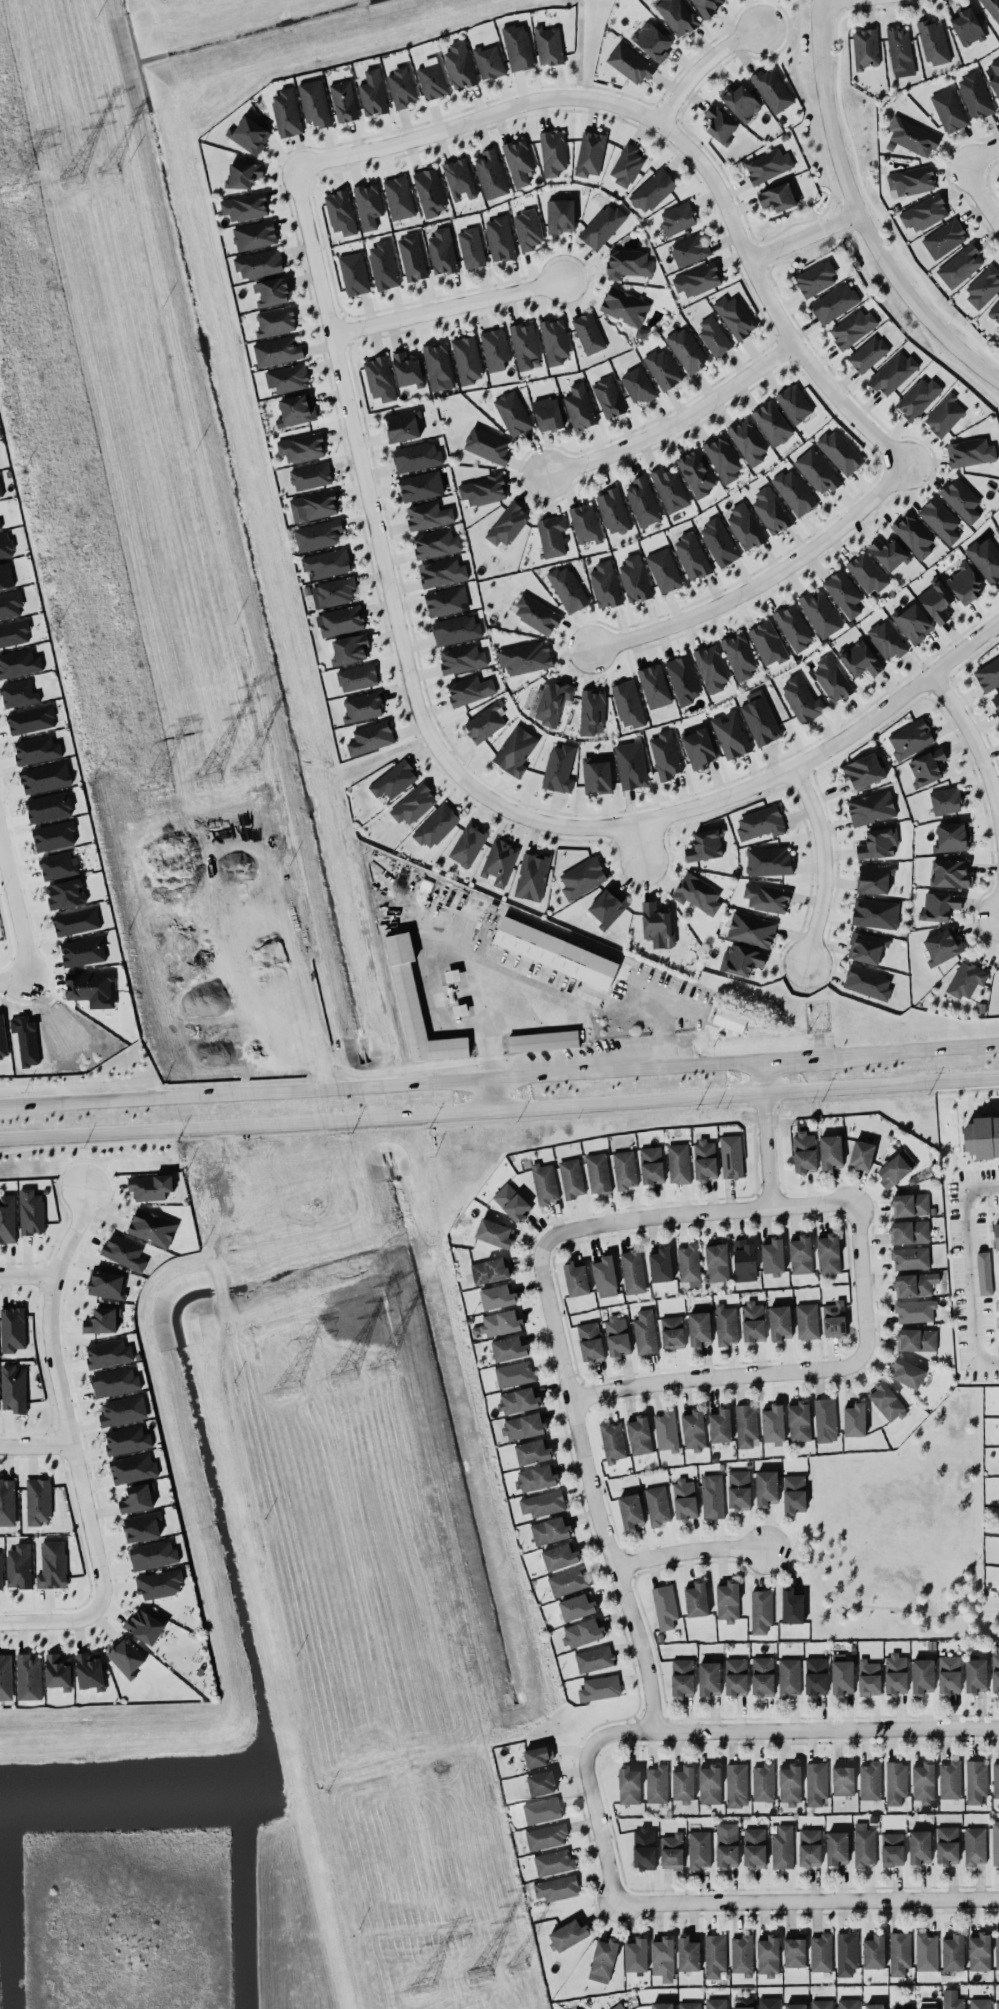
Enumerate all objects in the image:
building: (707, 7)
building: (992, 8)
building: (676, 16)
building: (967, 26)
building: (652, 41)
building: (933, 42)
building: (548, 45)
building: (517, 47)
building: (865, 48)
building: (900, 51)
building: (488, 62)
building: (630, 63)
building: (459, 65)
road: (703, 67)
building: (993, 75)
building: (431, 79)
building: (401, 87)
building: (772, 89)
building: (373, 92)
building: (975, 94)
building: (343, 100)
building: (741, 102)
building: (314, 103)
building: (948, 109)
building: (286, 112)
building: (719, 124)
building: (249, 134)
building: (912, 136)
road: (680, 139)
building: (552, 153)
building: (590, 153)
road: (983, 153)
building: (518, 161)
building: (626, 164)
building: (768, 165)
power tower: (101, 174)
building: (243, 174)
building: (490, 174)
building: (459, 179)
building: (911, 180)
power tower: (65, 184)
building: (652, 190)
building: (429, 191)
road: (980, 191)
power tower: (7, 196)
building: (398, 197)
building: (778, 197)
building: (368, 205)
building: (245, 206)
building: (340, 212)
building: (924, 212)
road: (861, 213)
building: (560, 215)
building: (677, 218)
building: (602, 225)
building: (527, 229)
building: (254, 234)
road: (805, 236)
building: (499, 238)
building: (944, 238)
building: (471, 247)
building: (689, 249)
building: (442, 251)
building: (412, 257)
building: (259, 263)
building: (628, 263)
building: (383, 265)
building: (960, 265)
building: (354, 273)
building: (815, 278)
building: (697, 279)
building: (983, 286)
building: (271, 291)
building: (834, 302)
road: (450, 305)
building: (624, 306)
building: (994, 311)
building: (734, 316)
building: (275, 321)
building: (852, 327)
building: (588, 333)
building: (714, 336)
building: (554, 341)
building: (524, 344)
building: (494, 348)
building: (686, 349)
building: (277, 350)
building: (868, 353)
building: (467, 359)
building: (438, 366)
building: (663, 368)
building: (407, 369)
building: (893, 373)
building: (287, 377)
building: (379, 378)
building: (637, 384)
building: (608, 396)
building: (917, 397)
building: (794, 403)
building: (579, 406)
building: (296, 410)
building: (512, 413)
building: (547, 413)
building: (944, 415)
road: (676, 420)
building: (772, 423)
building: (402, 425)
building: (747, 441)
building: (487, 445)
building: (301, 447)
building: (840, 452)
building: (969, 452)
building: (416, 456)
building: (722, 458)
building: (816, 471)
building: (696, 473)
building: (311, 476)
building: (421, 485)
building: (482, 489)
building: (669, 489)
building: (1, 491)
building: (794, 491)
building: (961, 499)
building: (642, 502)
building: (313, 505)
building: (770, 510)
building: (612, 511)
building: (428, 515)
building: (940, 520)
building: (585, 523)
building: (508, 524)
building: (0, 526)
building: (744, 526)
building: (318, 534)
building: (913, 534)
building: (551, 535)
building: (718, 542)
building: (436, 543)
building: (5, 545)
building: (889, 553)
building: (691, 555)
building: (986, 559)
building: (327, 562)
building: (664, 569)
building: (441, 572)
building: (867, 572)
building: (5, 576)
building: (634, 578)
road: (761, 579)
building: (964, 583)
building: (604, 585)
building: (567, 588)
building: (333, 592)
building: (843, 592)
building: (445, 600)
building: (936, 602)
building: (10, 604)
building: (820, 613)
building: (537, 614)
building: (340, 620)
building: (913, 622)
building: (793, 626)
building: (456, 629)
building: (14, 633)
building: (886, 639)
building: (767, 643)
building: (349, 649)
building: (739, 655)
building: (525, 657)
building: (461, 658)
building: (861, 659)
building: (19, 663)
building: (711, 668)
building: (988, 674)
building: (357, 677)
building: (832, 678)
building: (683, 679)
building: (654, 685)
building: (469, 689)
building: (18, 693)
building: (802, 699)
building: (551, 700)
building: (995, 702)
building: (628, 703)
building: (362, 706)
building: (591, 711)
building: (760, 718)
building: (31, 719)
building: (485, 721)
building: (730, 734)
building: (371, 737)
road: (975, 737)
building: (910, 738)
building: (698, 748)
building: (36, 749)
building: (515, 750)
building: (665, 754)
power tower: (235, 764)
road: (452, 764)
building: (631, 764)
building: (927, 767)
building: (559, 768)
building: (864, 770)
building: (596, 775)
building: (45, 777)
power tower: (199, 778)
building: (393, 780)
power tower: (141, 790)
building: (945, 800)
building: (414, 804)
building: (48, 806)
building: (871, 807)
building: (760, 822)
building: (436, 825)
building: (53, 835)
building: (952, 837)
building: (878, 843)
building: (468, 844)
building: (704, 845)
road: (823, 858)
building: (499, 861)
building: (768, 861)
building: (58, 864)
building: (950, 873)
building: (531, 876)
building: (582, 877)
building: (874, 878)
building: (65, 893)
building: (697, 893)
building: (766, 897)
building: (607, 906)
building: (939, 906)
building: (875, 912)
building: (76, 921)
building: (656, 925)
building: (751, 929)
road: (13, 933)
building: (866, 946)
building: (942, 946)
building: (82, 951)
building: (555, 952)
building: (741, 959)
building: (966, 979)
building: (867, 982)
building: (89, 985)
building: (417, 1006)
road: (570, 1009)
building: (729, 1018)
building: (2, 1037)
building: (543, 1040)
road: (912, 1051)
road: (795, 1059)
road: (382, 1084)
road: (494, 1095)
road: (499, 1110)
road: (772, 1131)
building: (982, 1137)
building: (804, 1150)
building: (830, 1151)
building: (861, 1154)
building: (731, 1156)
building: (704, 1158)
building: (678, 1163)
building: (651, 1165)
building: (895, 1168)
building: (624, 1169)
building: (597, 1172)
building: (997, 1173)
building: (571, 1177)
building: (544, 1183)
building: (150, 1186)
building: (511, 1201)
building: (910, 1204)
road: (706, 1210)
building: (31, 1211)
building: (7, 1218)
building: (152, 1227)
building: (909, 1231)
building: (493, 1232)
building: (996, 1235)
building: (123, 1251)
building: (828, 1254)
building: (773, 1255)
building: (800, 1255)
building: (910, 1258)
building: (744, 1261)
building: (717, 1262)
building: (660, 1264)
building: (689, 1264)
road: (971, 1268)
building: (489, 1270)
building: (632, 1271)
road: (864, 1272)
building: (984, 1272)
road: (27, 1275)
building: (605, 1276)
building: (575, 1278)
building: (107, 1284)
building: (913, 1284)
building: (915, 1310)
building: (102, 1319)
building: (834, 1319)
building: (753, 1320)
building: (807, 1321)
building: (780, 1322)
building: (498, 1323)
building: (726, 1324)
building: (699, 1328)
building: (12, 1329)
building: (645, 1331)
building: (672, 1332)
building: (617, 1336)
building: (917, 1339)
building: (590, 1341)
building: (509, 1348)
building: (107, 1353)
power tower: (369, 1366)
building: (907, 1372)
building: (514, 1373)
road: (722, 1377)
power tower: (335, 1378)
building: (114, 1381)
building: (13, 1388)
power tower: (277, 1390)
road: (61, 1393)
building: (518, 1400)
building: (886, 1401)
building: (122, 1410)
building: (825, 1419)
building: (855, 1419)
building: (799, 1421)
building: (773, 1423)
building: (720, 1425)
building: (746, 1425)
building: (524, 1426)
building: (694, 1429)
building: (666, 1430)
building: (639, 1435)
building: (126, 1439)
building: (612, 1441)
road: (35, 1442)
building: (532, 1451)
building: (133, 1468)
road: (593, 1474)
building: (535, 1478)
building: (766, 1486)
building: (739, 1489)
building: (794, 1493)
building: (137, 1497)
building: (713, 1497)
building: (684, 1498)
building: (38, 1500)
building: (7, 1502)
building: (542, 1503)
building: (657, 1504)
building: (630, 1510)
building: (142, 1526)
building: (549, 1530)
road: (693, 1551)
building: (152, 1554)
building: (559, 1556)
building: (52, 1564)
building: (19, 1565)
building: (0, 1570)
building: (567, 1581)
building: (159, 1583)
building: (998, 1588)
building: (696, 1599)
building: (728, 1600)
building: (577, 1606)
building: (664, 1606)
building: (792, 1606)
road: (873, 1607)
building: (761, 1610)
road: (50, 1619)
building: (144, 1625)
building: (582, 1632)
building: (125, 1657)
building: (593, 1658)
building: (90, 1670)
building: (58, 1671)
building: (995, 1671)
building: (895, 1673)
building: (949, 1673)
building: (841, 1674)
building: (735, 1675)
building: (762, 1675)
building: (816, 1675)
building: (922, 1675)
building: (975, 1675)
building: (28, 1676)
building: (789, 1676)
building: (5, 1677)
building: (682, 1677)
building: (708, 1677)
building: (869, 1677)
building: (599, 1687)
road: (799, 1723)
building: (538, 1755)
building: (843, 1779)
building: (949, 1779)
building: (995, 1779)
building: (869, 1780)
building: (763, 1781)
building: (923, 1781)
building: (976, 1781)
building: (896, 1782)
building: (541, 1783)
building: (656, 1783)
building: (683, 1783)
building: (789, 1783)
building: (816, 1783)
building: (709, 1784)
building: (736, 1784)
building: (629, 1785)
building: (542, 1810)
road: (602, 1817)
building: (546, 1836)
building: (995, 1842)
building: (726, 1844)
building: (864, 1844)
building: (947, 1844)
building: (781, 1845)
building: (919, 1845)
building: (975, 1845)
building: (809, 1846)
building: (644, 1847)
building: (754, 1847)
building: (836, 1847)
building: (699, 1848)
building: (892, 1848)
building: (671, 1851)
building: (553, 1862)
building: (557, 1888)
road: (808, 1898)
building: (568, 1934)
building: (794, 1950)
building: (874, 1951)
building: (926, 1951)
building: (979, 1951)
building: (997, 1951)
building: (820, 1952)
building: (899, 1952)
building: (953, 1952)
building: (688, 1953)
building: (846, 1953)
building: (636, 1954)
building: (741, 1954)
building: (714, 1955)
building: (768, 1955)
building: (663, 1958)
building: (603, 1960)
power tower: (511, 1966)
power tower: (471, 1976)
power tower: (409, 1986)
building: (952, 1999)
building: (715, 2003)
building: (742, 2003)
building: (768, 2003)
building: (847, 2003)
building: (980, 2003)
building: (821, 2004)
building: (927, 2004)
building: (997, 2004)
building: (661, 2005)
building: (689, 2005)
building: (619, 2006)
building: (795, 2006)
building: (874, 2006)
building: (902, 2008)

